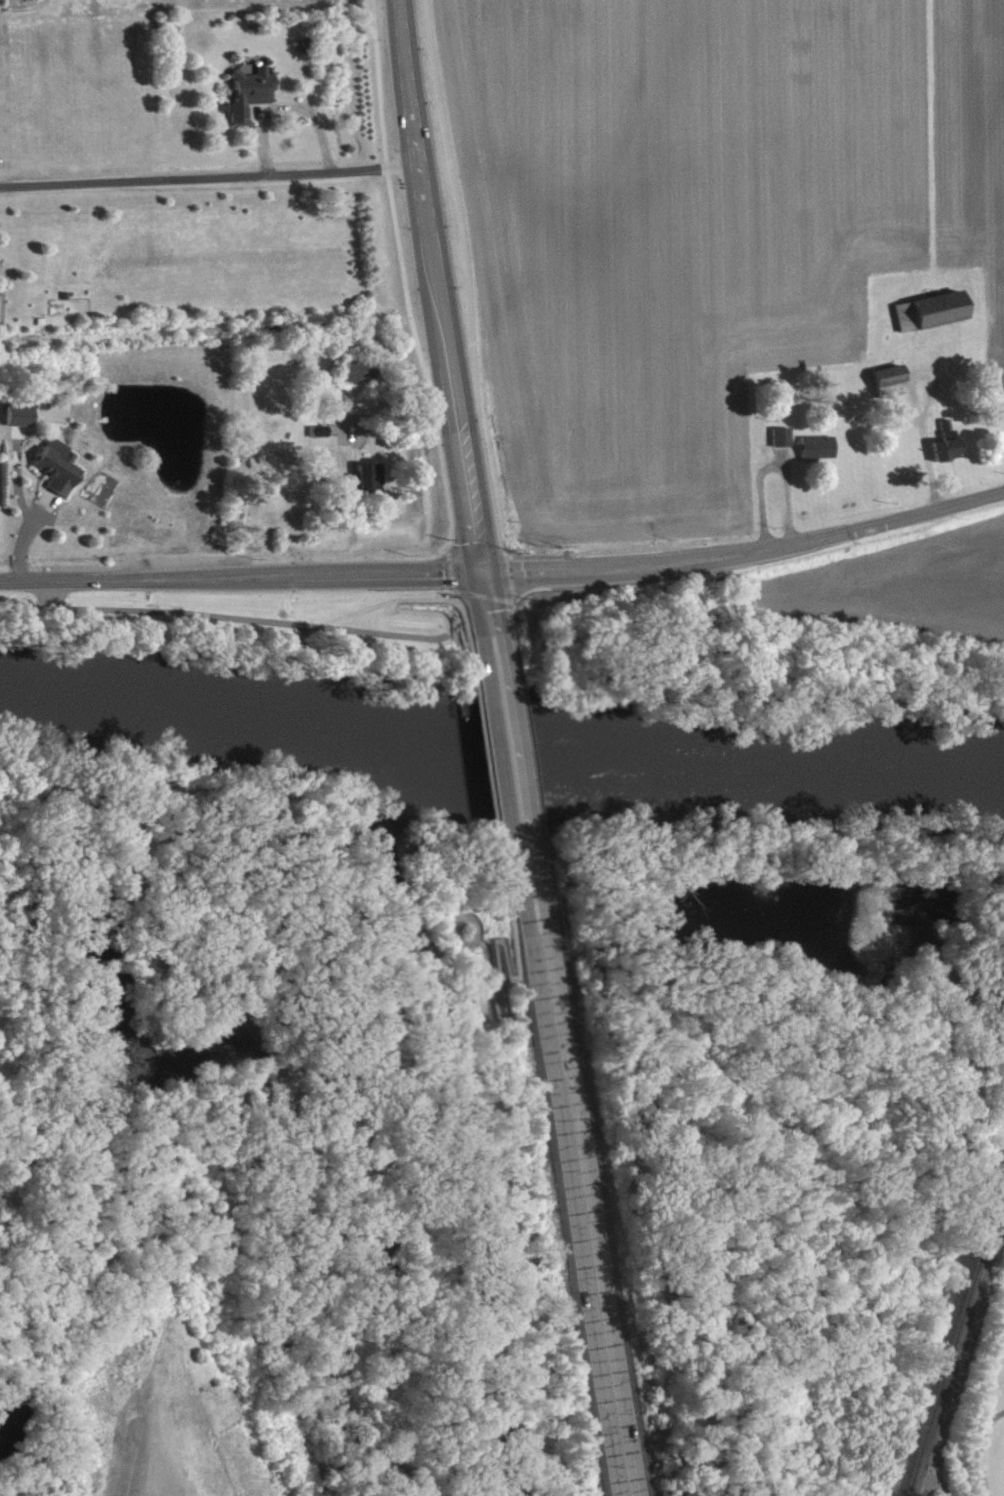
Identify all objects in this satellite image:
building: (250, 102)
road: (283, 105)
road: (208, 179)
crop: (717, 222)
road: (402, 277)
road: (466, 279)
road: (439, 316)
building: (932, 319)
building: (356, 378)
building: (891, 389)
building: (22, 423)
building: (783, 445)
building: (819, 455)
building: (946, 457)
building: (60, 474)
building: (368, 484)
road: (446, 567)
traffic signals: (477, 571)
road: (506, 571)
road: (505, 576)
road: (466, 591)
road: (350, 614)
road: (310, 627)
river: (500, 755)
road: (509, 769)
road: (486, 771)
road: (455, 939)
road: (492, 964)
road: (508, 1196)
road: (570, 1201)
railway: (955, 1335)
park: (985, 1424)

